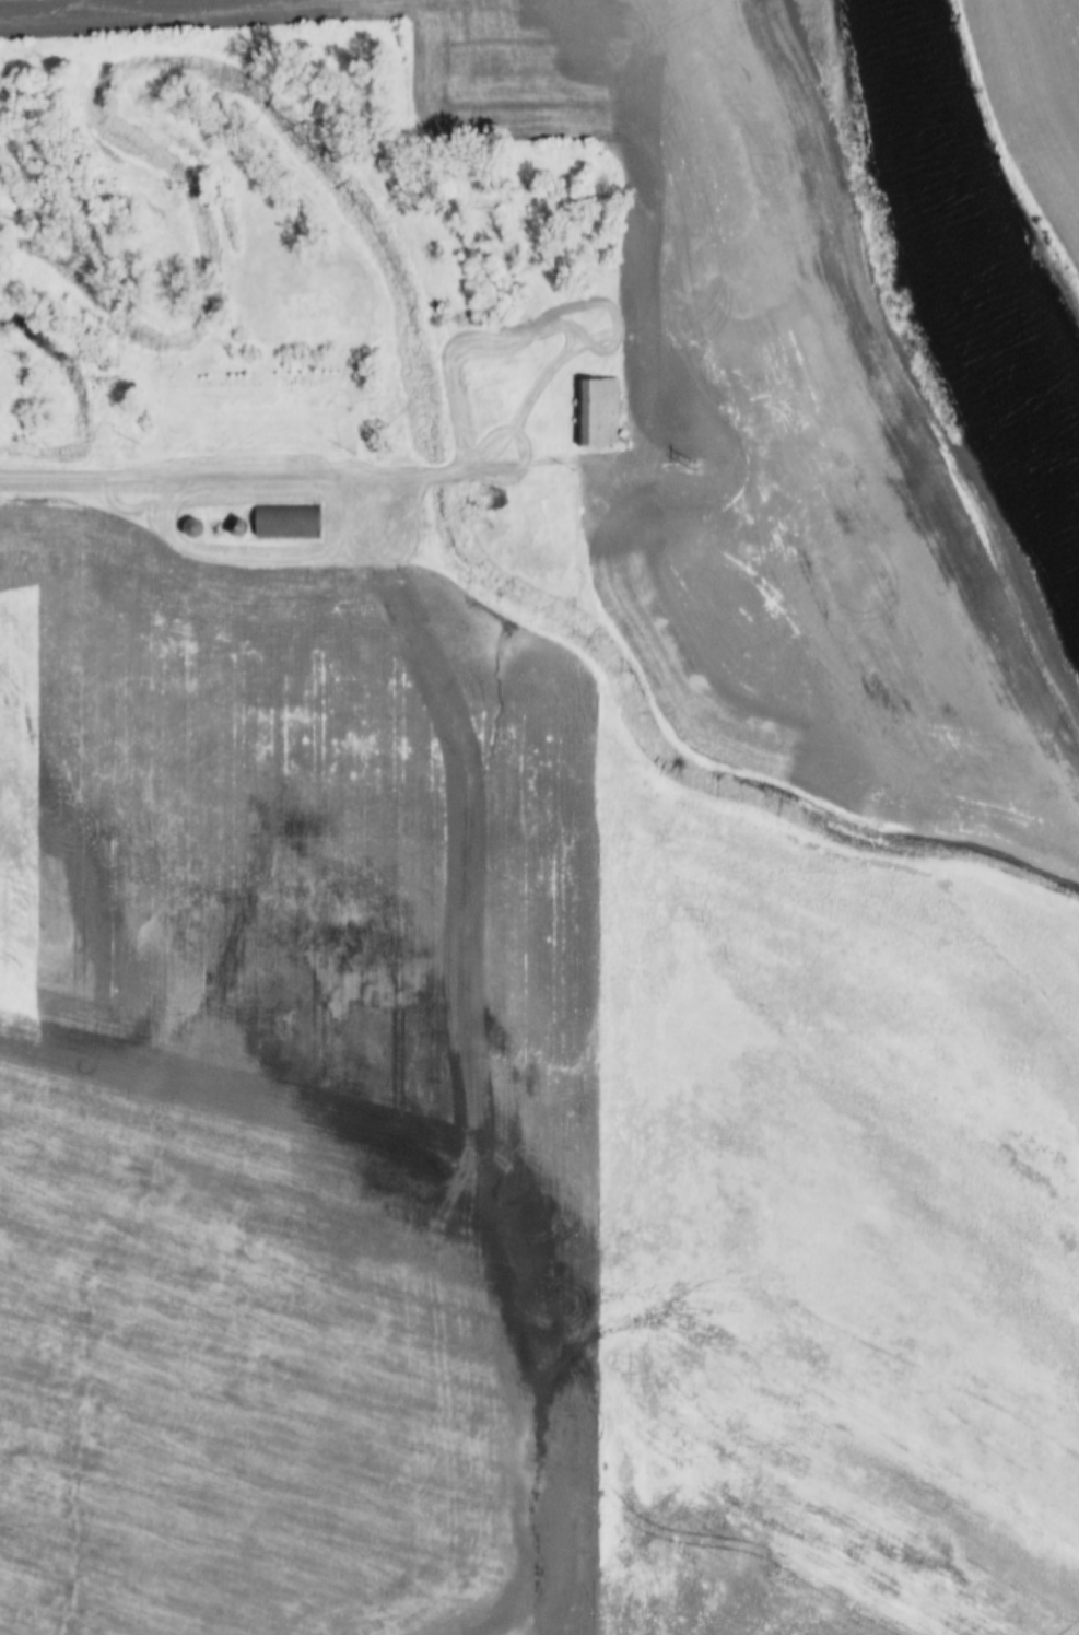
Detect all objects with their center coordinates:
river: (974, 244)
building: (593, 411)
road: (280, 480)
building: (282, 521)
building: (187, 527)
building: (228, 527)
road: (666, 795)

